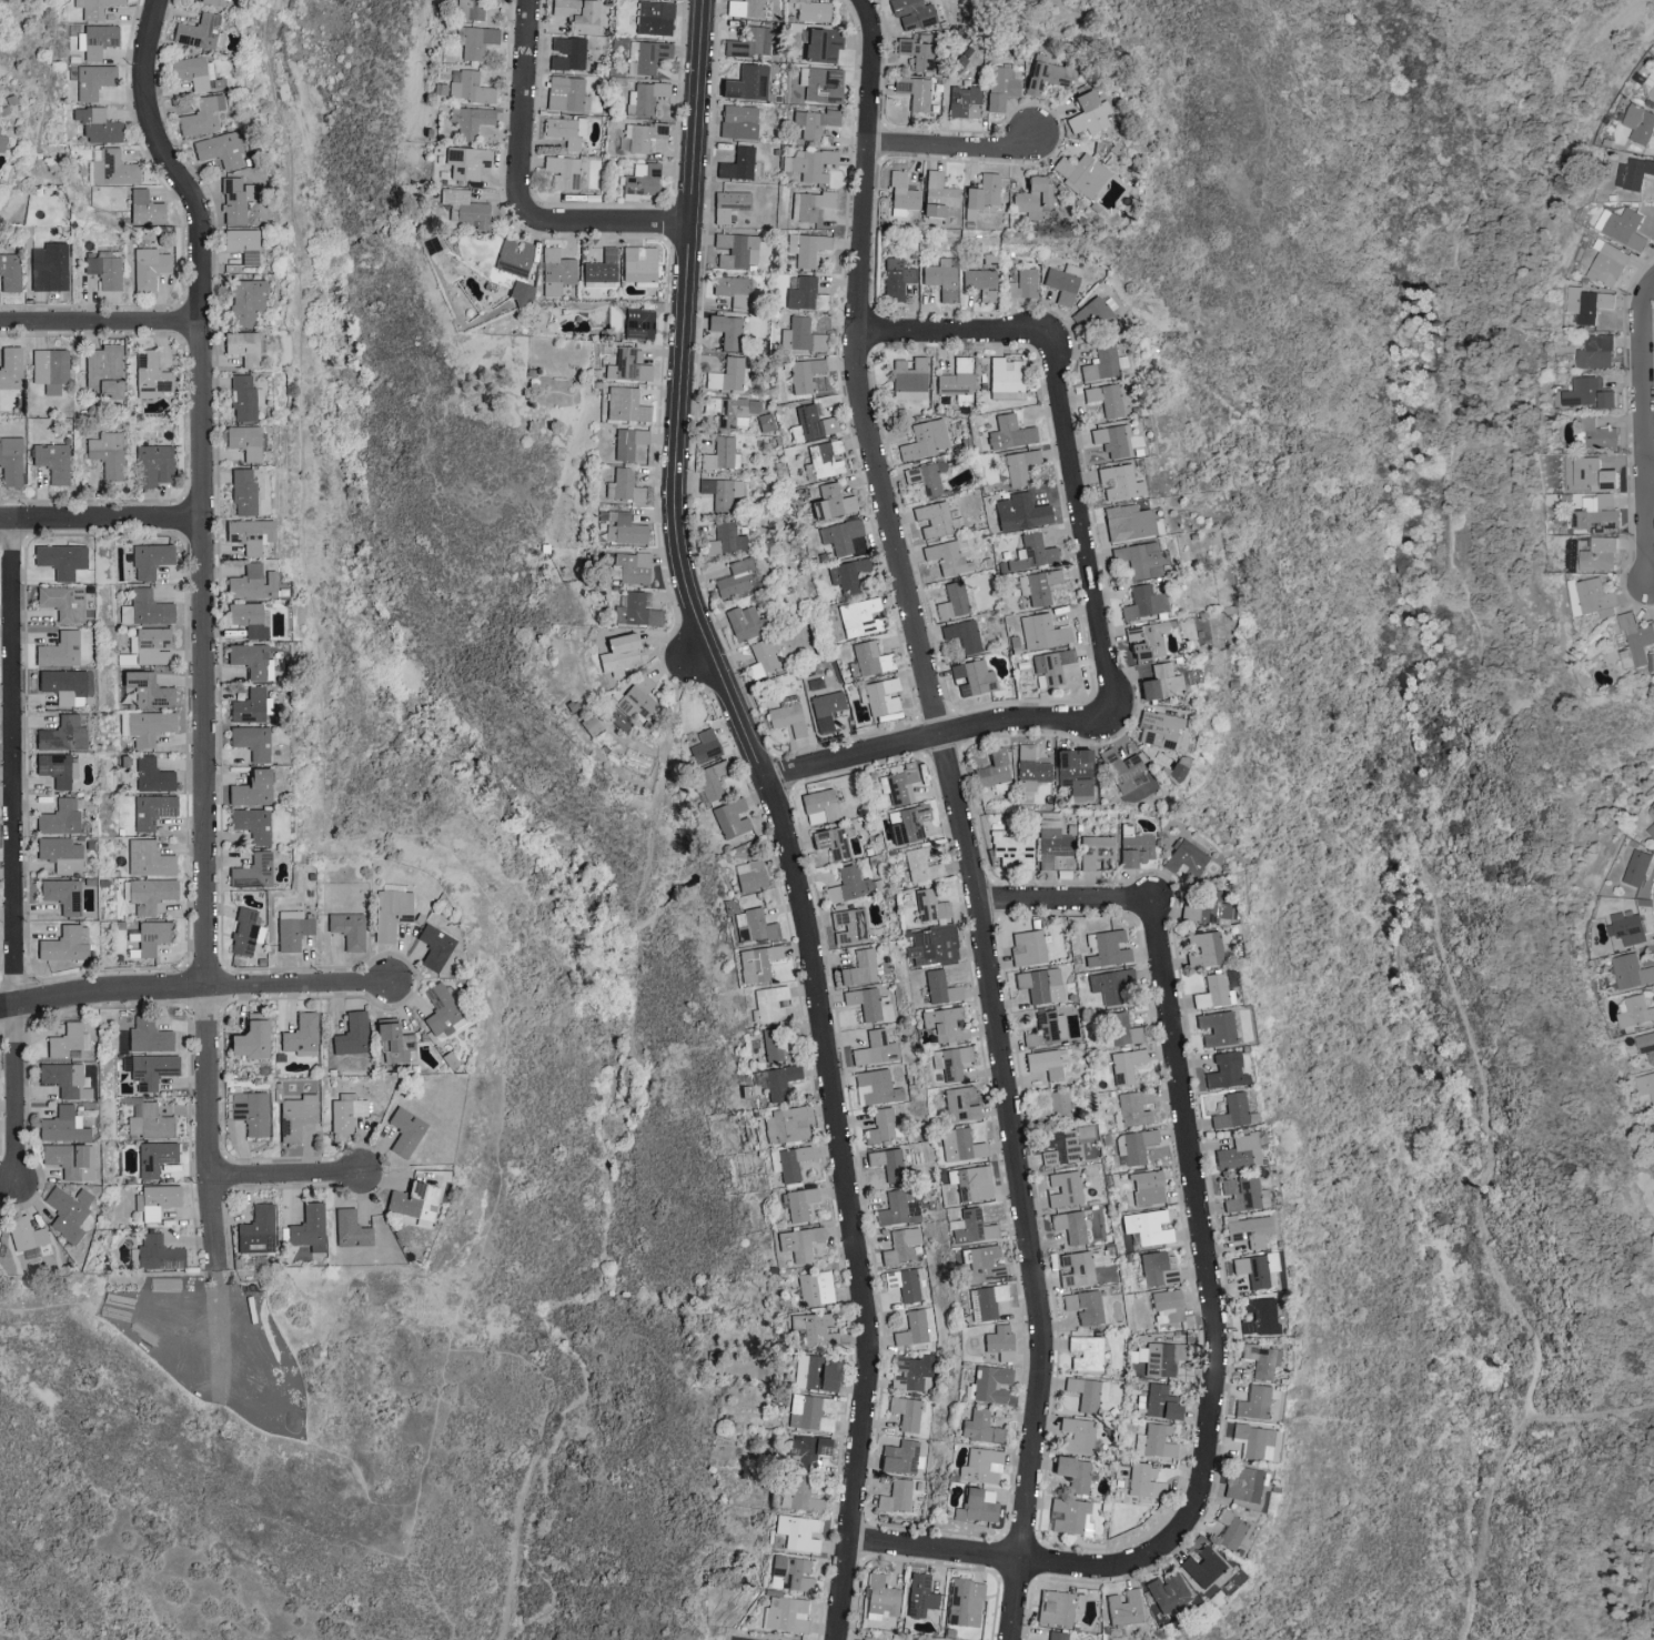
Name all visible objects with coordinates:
building: (208, 1)
building: (92, 8)
building: (473, 8)
building: (744, 8)
building: (811, 10)
building: (576, 13)
building: (912, 13)
building: (654, 17)
building: (199, 31)
building: (95, 40)
building: (474, 41)
building: (749, 42)
building: (820, 44)
building: (567, 52)
building: (917, 52)
building: (648, 54)
building: (194, 72)
building: (1047, 73)
building: (92, 80)
building: (746, 83)
building: (821, 83)
building: (1651, 84)
building: (1001, 85)
building: (470, 87)
building: (566, 93)
building: (919, 94)
building: (645, 97)
building: (964, 101)
building: (1088, 113)
building: (202, 115)
road: (524, 118)
building: (737, 121)
building: (472, 122)
building: (814, 122)
building: (1640, 123)
building: (95, 124)
building: (565, 130)
building: (642, 134)
building: (1, 143)
road: (949, 143)
building: (220, 150)
road: (1376, 160)
building: (466, 163)
building: (736, 164)
building: (809, 164)
building: (113, 169)
building: (563, 171)
building: (1636, 172)
building: (1081, 174)
building: (639, 180)
building: (901, 194)
building: (937, 194)
building: (980, 194)
building: (1630, 195)
building: (1030, 198)
building: (234, 199)
building: (728, 204)
building: (811, 204)
building: (144, 209)
building: (466, 209)
road: (617, 224)
building: (1625, 229)
building: (241, 243)
building: (807, 248)
building: (737, 250)
building: (513, 256)
building: (638, 263)
building: (1607, 263)
building: (49, 266)
building: (148, 268)
building: (105, 270)
building: (601, 270)
building: (555, 271)
building: (9, 272)
building: (896, 278)
building: (941, 278)
building: (1063, 282)
building: (981, 283)
building: (1025, 283)
building: (730, 290)
building: (521, 292)
building: (805, 294)
building: (244, 301)
building: (1587, 304)
building: (1096, 312)
road: (100, 319)
building: (638, 323)
building: (726, 329)
building: (801, 335)
road: (947, 335)
building: (241, 346)
building: (1595, 352)
building: (1102, 363)
building: (627, 365)
building: (10, 368)
building: (51, 369)
building: (103, 371)
building: (151, 375)
building: (726, 375)
building: (803, 375)
building: (909, 379)
building: (957, 379)
building: (1006, 379)
building: (1587, 393)
building: (243, 398)
building: (1105, 399)
building: (625, 404)
building: (732, 410)
building: (764, 422)
building: (811, 423)
building: (1010, 432)
road: (1645, 434)
building: (1600, 436)
building: (924, 440)
building: (242, 441)
building: (1111, 441)
building: (628, 442)
building: (107, 453)
building: (722, 454)
building: (826, 457)
building: (10, 461)
building: (52, 462)
building: (153, 465)
building: (1020, 465)
building: (1593, 474)
road: (1650, 476)
building: (927, 477)
building: (1119, 482)
building: (623, 485)
building: (242, 492)
building: (718, 492)
building: (831, 502)
building: (1019, 512)
building: (1602, 512)
road: (1078, 513)
building: (938, 517)
building: (1580, 520)
building: (1127, 522)
road: (100, 523)
building: (623, 529)
building: (249, 534)
building: (840, 535)
building: (726, 539)
building: (1032, 552)
building: (1120, 555)
building: (1598, 555)
building: (949, 556)
building: (60, 560)
building: (150, 560)
building: (1143, 560)
building: (632, 567)
building: (847, 575)
building: (735, 577)
building: (250, 583)
building: (1038, 586)
building: (1591, 598)
building: (955, 601)
building: (61, 602)
building: (1143, 603)
building: (144, 608)
building: (636, 611)
building: (859, 617)
building: (246, 618)
building: (743, 622)
road: (201, 626)
building: (1042, 632)
building: (962, 635)
building: (1637, 638)
building: (1144, 641)
building: (152, 646)
building: (58, 650)
building: (617, 655)
building: (765, 656)
building: (870, 658)
building: (250, 660)
road: (696, 663)
building: (1050, 666)
road: (679, 676)
building: (972, 677)
building: (1166, 678)
building: (62, 686)
building: (147, 688)
building: (1147, 690)
building: (636, 698)
building: (880, 698)
building: (249, 706)
building: (825, 710)
building: (787, 718)
building: (145, 726)
building: (1159, 730)
building: (60, 735)
road: (946, 739)
building: (250, 742)
building: (704, 747)
road: (1464, 762)
building: (1119, 765)
building: (56, 768)
building: (994, 768)
building: (1029, 769)
building: (1075, 773)
building: (152, 775)
building: (709, 779)
building: (898, 782)
building: (249, 789)
building: (819, 806)
building: (1652, 808)
building: (151, 811)
road: (776, 815)
road: (960, 815)
building: (60, 817)
building: (729, 817)
building: (907, 823)
building: (251, 824)
building: (1651, 831)
building: (833, 841)
road: (327, 843)
building: (1051, 843)
building: (1133, 849)
building: (1010, 851)
building: (1095, 851)
road: (13, 854)
building: (59, 854)
building: (148, 858)
building: (1184, 859)
building: (920, 865)
building: (1636, 868)
building: (251, 872)
building: (748, 875)
building: (848, 885)
building: (150, 894)
building: (61, 895)
road: (1066, 903)
building: (929, 906)
building: (391, 910)
building: (752, 926)
building: (851, 926)
building: (1627, 928)
building: (292, 929)
building: (346, 929)
building: (244, 933)
building: (149, 938)
building: (63, 945)
building: (932, 946)
building: (434, 947)
building: (1028, 948)
building: (1106, 948)
building: (1201, 949)
building: (756, 963)
building: (859, 968)
building: (1631, 972)
road: (195, 984)
building: (1040, 985)
building: (939, 988)
building: (1115, 988)
building: (864, 1003)
building: (769, 1004)
building: (441, 1010)
building: (1636, 1012)
building: (945, 1024)
building: (1047, 1028)
building: (1213, 1028)
building: (1122, 1029)
building: (351, 1033)
building: (385, 1033)
building: (301, 1035)
building: (148, 1036)
building: (248, 1037)
building: (65, 1040)
building: (1645, 1043)
building: (773, 1046)
building: (402, 1048)
building: (876, 1048)
building: (949, 1062)
building: (1047, 1063)
building: (1126, 1065)
building: (151, 1069)
building: (1223, 1071)
building: (63, 1078)
building: (778, 1081)
building: (1646, 1085)
building: (876, 1088)
building: (960, 1105)
building: (1058, 1106)
building: (1134, 1107)
building: (250, 1110)
building: (345, 1111)
building: (1229, 1111)
building: (296, 1116)
building: (150, 1121)
building: (785, 1124)
building: (61, 1125)
building: (1653, 1125)
building: (881, 1126)
building: (405, 1130)
building: (1134, 1145)
building: (958, 1146)
building: (1059, 1147)
building: (1238, 1151)
building: (154, 1156)
building: (69, 1159)
building: (787, 1161)
building: (888, 1163)
road: (283, 1171)
road: (1196, 1179)
building: (972, 1183)
building: (1063, 1188)
building: (1147, 1188)
building: (1240, 1194)
building: (157, 1200)
building: (413, 1203)
building: (798, 1204)
building: (898, 1209)
building: (67, 1210)
building: (1070, 1225)
building: (969, 1226)
building: (1148, 1226)
building: (309, 1227)
building: (350, 1229)
building: (256, 1230)
building: (1247, 1230)
building: (24, 1234)
building: (798, 1241)
building: (901, 1245)
building: (157, 1252)
building: (982, 1262)
building: (1080, 1268)
building: (1159, 1268)
building: (1254, 1268)
building: (907, 1282)
building: (814, 1287)
building: (985, 1300)
building: (1167, 1304)
building: (1085, 1306)
building: (1260, 1317)
building: (917, 1326)
building: (814, 1329)
building: (999, 1341)
road: (513, 1350)
building: (1086, 1352)
building: (1161, 1357)
building: (1261, 1359)
building: (912, 1370)
building: (813, 1372)
building: (990, 1384)
building: (1086, 1392)
building: (1161, 1401)
building: (1253, 1401)
building: (808, 1411)
building: (906, 1411)
road: (1591, 1416)
building: (980, 1427)
building: (1076, 1436)
building: (1159, 1440)
building: (1253, 1440)
building: (805, 1449)
building: (901, 1457)
building: (979, 1466)
building: (1072, 1471)
building: (1144, 1480)
building: (1245, 1483)
building: (801, 1495)
building: (896, 1496)
building: (976, 1505)
road: (521, 1515)
building: (1069, 1516)
building: (796, 1530)
building: (1232, 1530)
building: (1201, 1566)
road: (1060, 1568)
building: (1167, 1591)
building: (919, 1594)
building: (881, 1598)
building: (964, 1602)
building: (1058, 1607)
building: (1123, 1608)
building: (785, 1613)
building: (1056, 1636)
building: (770, 1639)
building: (873, 1639)

